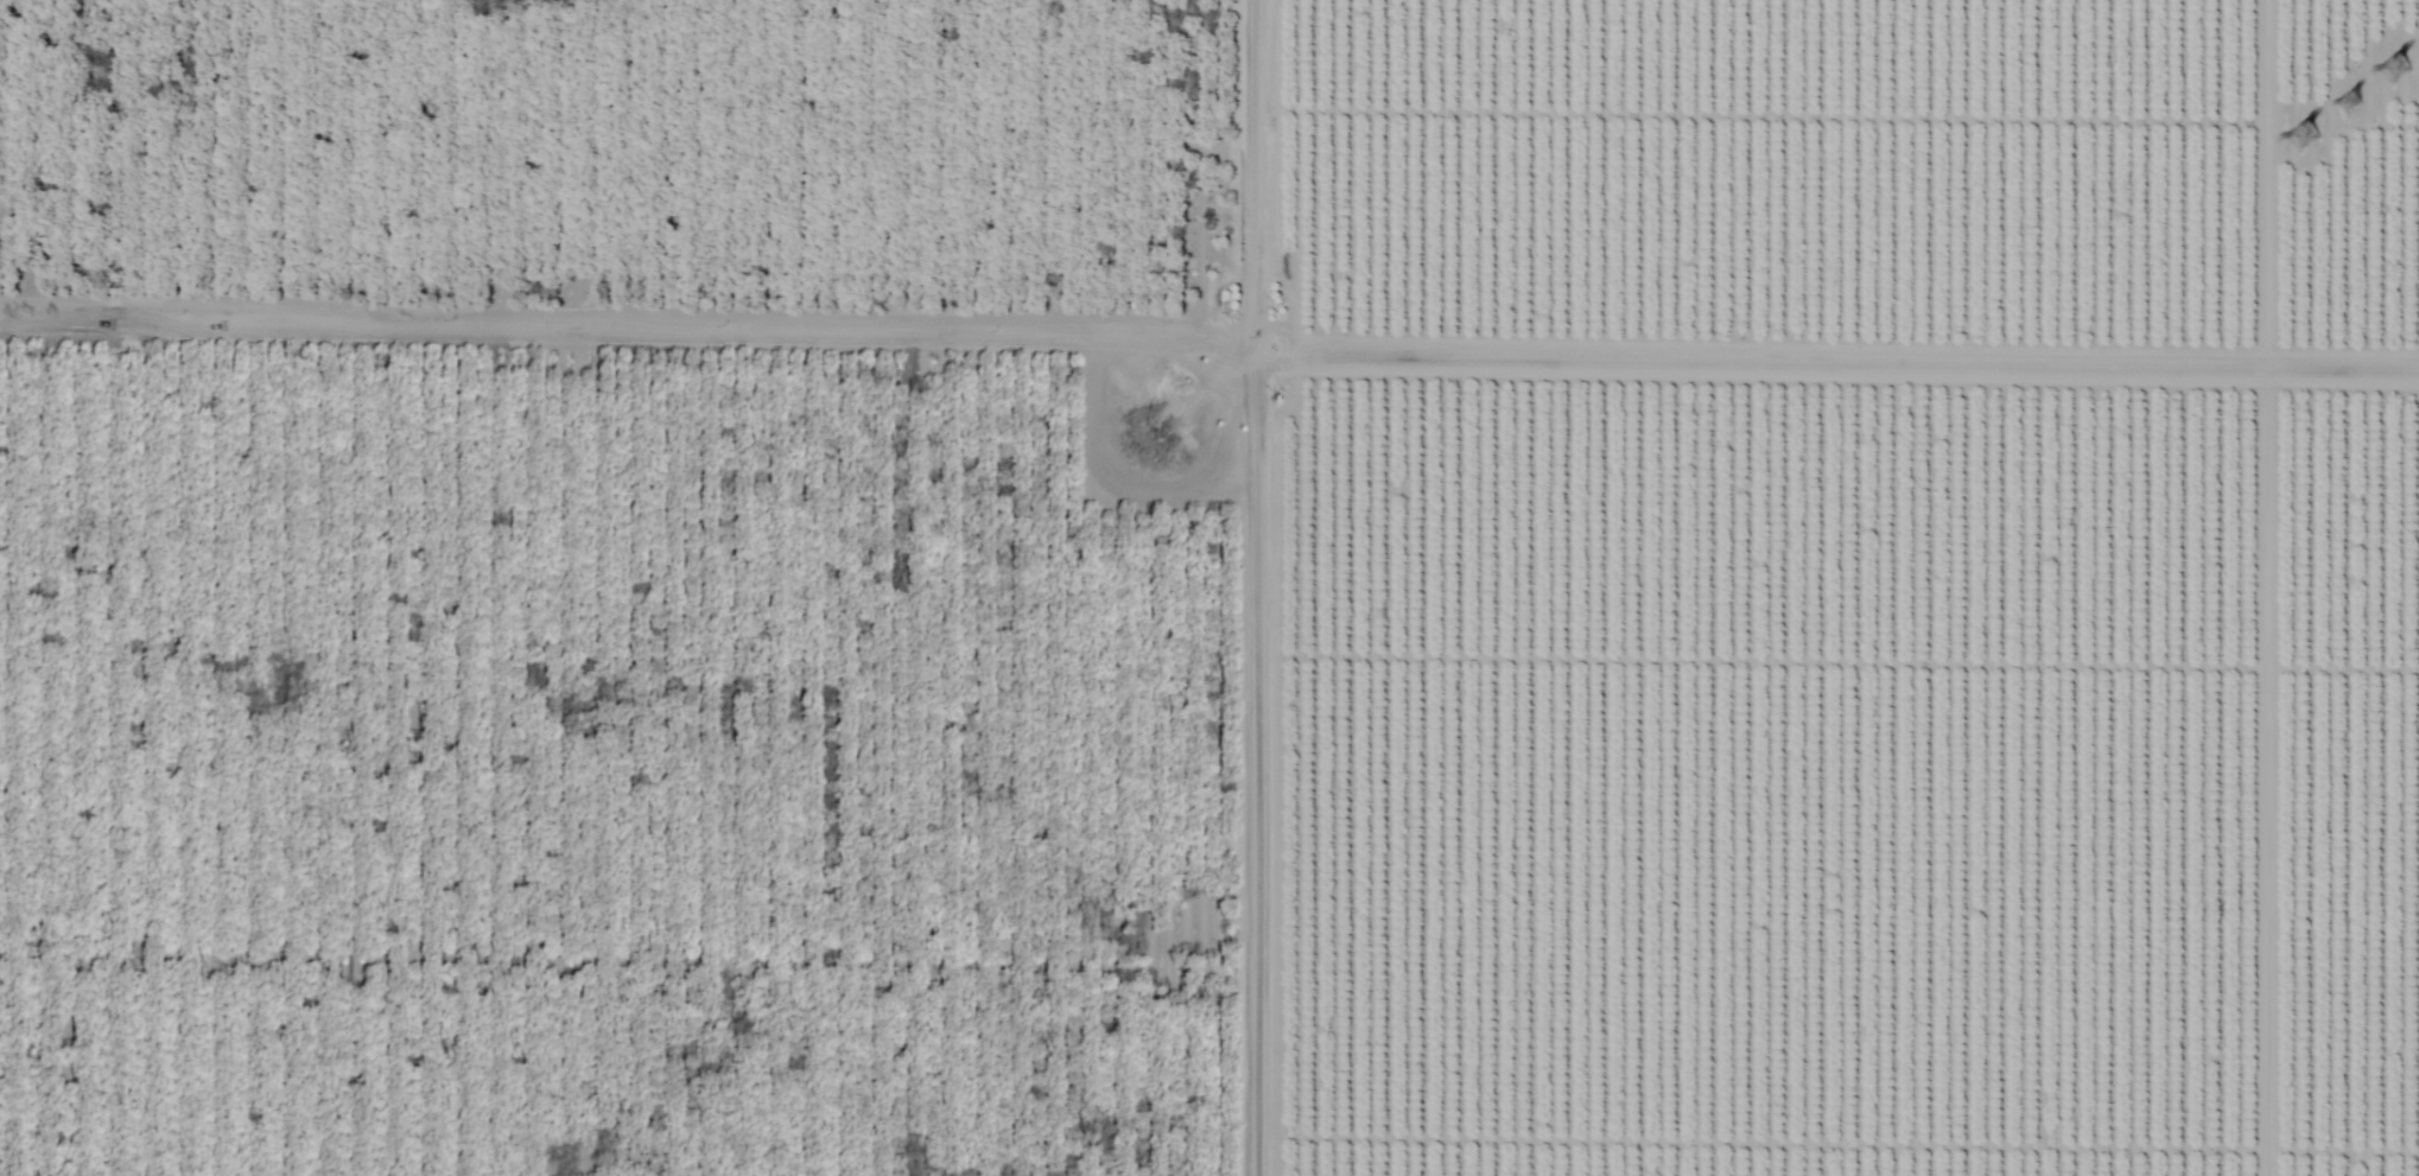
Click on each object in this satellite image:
power tower: (2399, 75)
power tower: (2354, 101)
power tower: (2296, 128)

